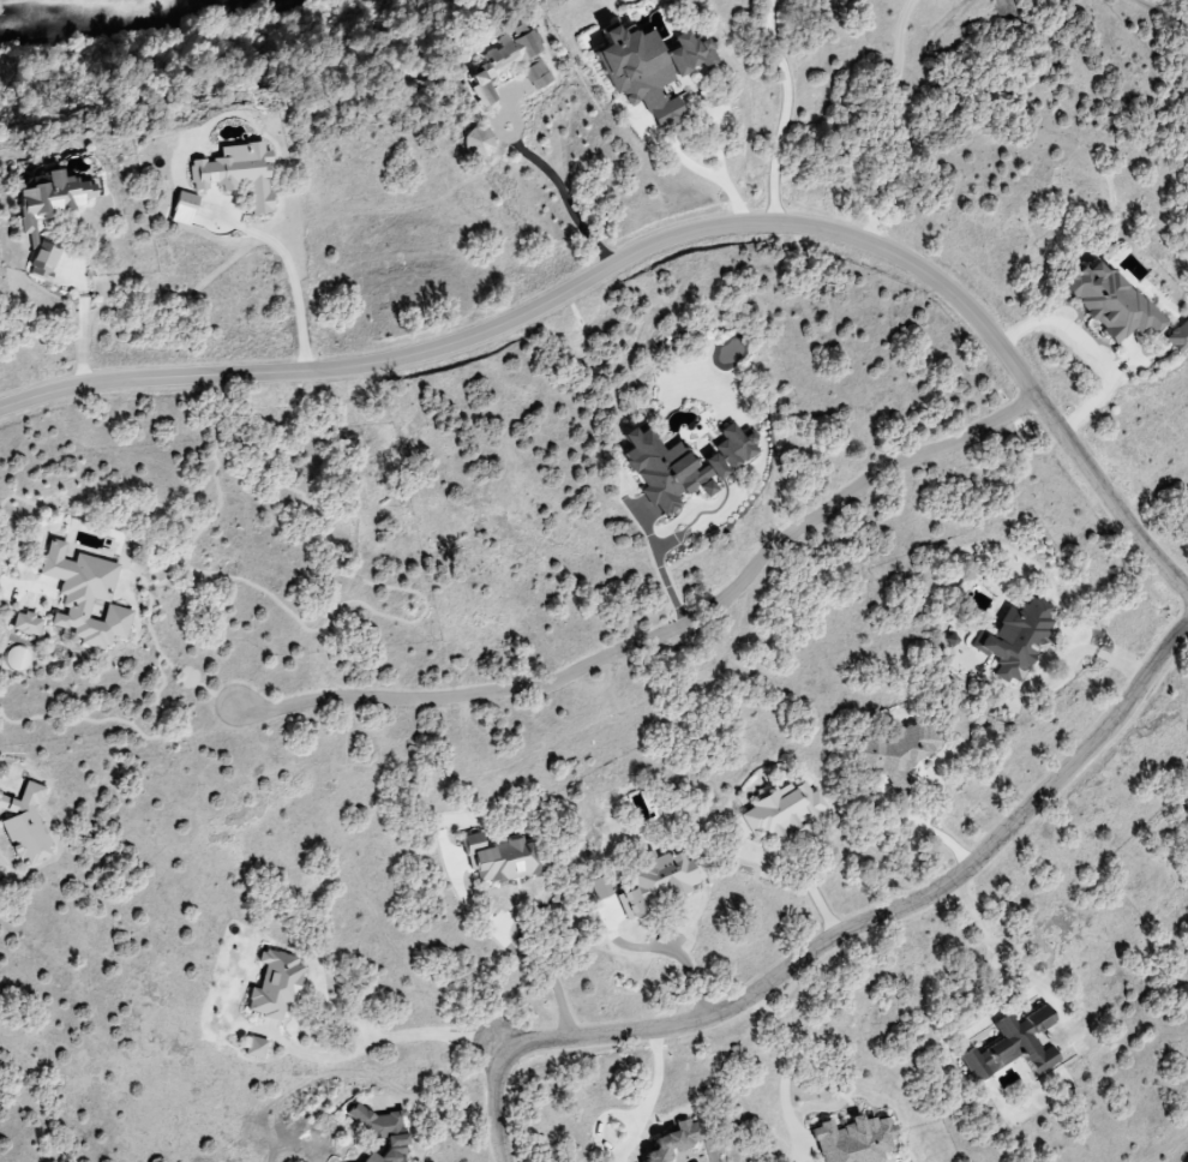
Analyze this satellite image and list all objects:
river: (137, 12)
road: (1160, 14)
building: (504, 59)
building: (653, 67)
building: (538, 74)
road: (779, 112)
road: (888, 118)
building: (480, 140)
road: (701, 172)
building: (239, 173)
road: (565, 190)
building: (184, 209)
building: (49, 212)
road: (662, 240)
road: (296, 280)
building: (1112, 301)
building: (1178, 336)
road: (1094, 345)
building: (684, 465)
road: (664, 558)
road: (12, 585)
building: (86, 598)
building: (26, 623)
road: (666, 623)
building: (1016, 639)
road: (1061, 667)
building: (899, 754)
building: (1187, 807)
building: (784, 813)
building: (25, 825)
road: (924, 832)
building: (504, 859)
building: (659, 882)
road: (829, 941)
road: (673, 951)
road: (1013, 960)
road: (540, 975)
building: (275, 986)
road: (379, 1040)
building: (1014, 1046)
building: (257, 1048)
road: (788, 1061)
road: (649, 1089)
road: (434, 1106)
building: (382, 1132)
building: (856, 1140)
building: (676, 1142)

